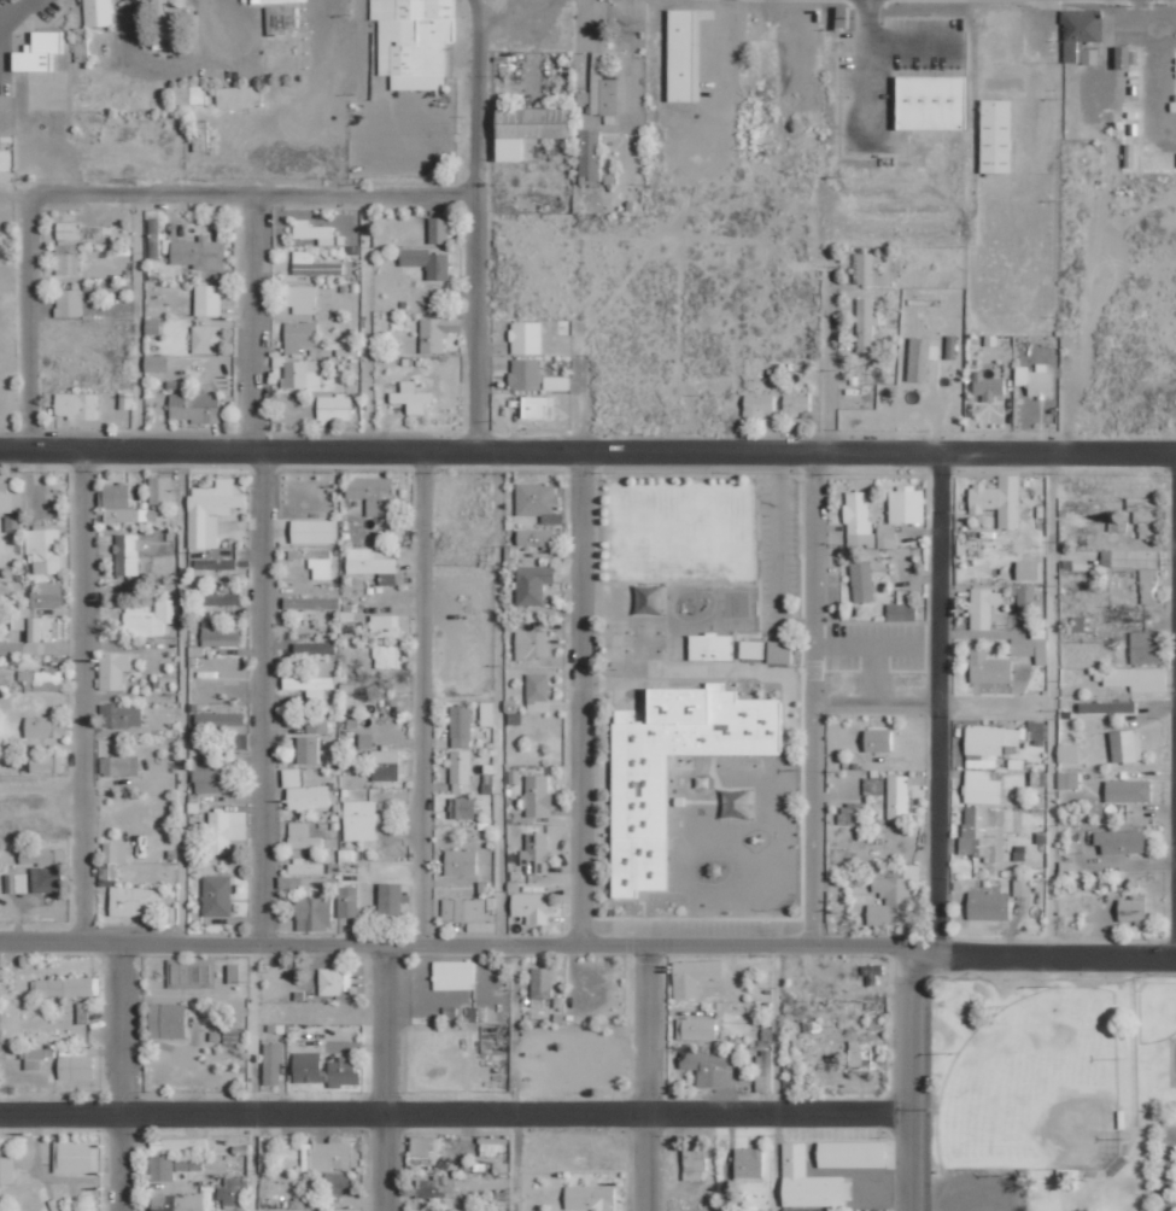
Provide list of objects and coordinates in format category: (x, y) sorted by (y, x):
building: (264, 1)
road: (12, 12)
building: (98, 12)
building: (280, 18)
building: (162, 25)
building: (1078, 31)
building: (411, 41)
building: (81, 43)
road: (911, 43)
building: (681, 55)
road: (868, 65)
building: (41, 71)
building: (608, 88)
building: (188, 94)
building: (238, 95)
road: (478, 95)
building: (929, 103)
building: (525, 130)
building: (199, 135)
building: (994, 136)
building: (589, 156)
road: (256, 194)
building: (438, 228)
building: (68, 230)
building: (314, 232)
building: (153, 242)
building: (198, 253)
building: (66, 259)
building: (427, 262)
building: (312, 264)
building: (873, 268)
building: (207, 299)
building: (302, 299)
building: (68, 303)
road: (139, 323)
road: (253, 323)
road: (365, 323)
road: (480, 323)
building: (866, 323)
road: (31, 324)
building: (437, 333)
building: (299, 337)
building: (525, 337)
building: (205, 339)
building: (950, 346)
road: (831, 357)
building: (919, 359)
building: (156, 363)
building: (525, 374)
building: (302, 375)
building: (1035, 379)
building: (555, 382)
building: (985, 386)
building: (410, 397)
building: (759, 404)
building: (795, 404)
building: (75, 405)
building: (194, 405)
building: (534, 405)
building: (334, 406)
road: (587, 452)
road: (1175, 479)
building: (159, 490)
building: (370, 492)
building: (7, 498)
building: (534, 498)
building: (997, 499)
building: (119, 504)
building: (210, 510)
building: (900, 513)
building: (1143, 515)
building: (858, 519)
building: (12, 523)
building: (314, 531)
building: (536, 539)
building: (42, 551)
building: (127, 554)
building: (1130, 558)
building: (215, 563)
building: (374, 564)
building: (1028, 571)
building: (861, 581)
building: (532, 584)
building: (1147, 584)
building: (46, 595)
building: (1026, 595)
building: (220, 599)
building: (311, 603)
building: (902, 605)
building: (982, 607)
building: (147, 618)
building: (385, 625)
building: (220, 636)
building: (531, 644)
building: (1031, 645)
building: (709, 647)
building: (1145, 647)
building: (315, 648)
building: (750, 649)
building: (779, 653)
building: (386, 655)
building: (988, 667)
building: (112, 669)
building: (1134, 678)
building: (41, 680)
building: (308, 683)
building: (536, 692)
road: (262, 694)
road: (82, 695)
road: (181, 695)
road: (422, 696)
road: (498, 696)
road: (579, 697)
road: (809, 697)
road: (937, 703)
road: (991, 703)
road: (1048, 704)
building: (1106, 707)
building: (486, 713)
building: (121, 715)
building: (217, 719)
building: (316, 724)
building: (45, 726)
building: (460, 726)
building: (1037, 732)
building: (877, 739)
building: (365, 741)
building: (238, 742)
building: (989, 744)
building: (1125, 745)
building: (308, 749)
building: (1067, 753)
building: (46, 764)
building: (384, 764)
building: (118, 766)
building: (460, 771)
building: (291, 777)
building: (213, 779)
building: (1067, 779)
building: (981, 788)
building: (1128, 790)
building: (537, 796)
building: (897, 796)
building: (308, 797)
building: (461, 807)
building: (854, 814)
building: (359, 820)
building: (639, 821)
building: (226, 830)
building: (982, 831)
building: (302, 836)
building: (1121, 842)
building: (115, 852)
building: (536, 854)
building: (41, 856)
building: (460, 862)
building: (305, 868)
building: (45, 879)
building: (14, 883)
building: (127, 895)
building: (216, 895)
building: (388, 897)
building: (891, 897)
building: (347, 901)
building: (988, 906)
building: (530, 907)
building: (463, 909)
building: (1133, 909)
building: (312, 913)
road: (441, 941)
road: (1029, 954)
building: (233, 973)
building: (454, 975)
building: (694, 976)
building: (334, 982)
building: (65, 987)
building: (478, 1013)
building: (166, 1020)
building: (697, 1029)
building: (792, 1040)
building: (859, 1055)
building: (36, 1058)
building: (74, 1063)
building: (271, 1063)
building: (707, 1066)
building: (305, 1067)
building: (763, 1071)
building: (343, 1072)
road: (122, 1075)
road: (253, 1075)
road: (386, 1076)
road: (514, 1076)
road: (644, 1076)
road: (773, 1076)
road: (906, 1078)
park: (1034, 1087)
road: (452, 1115)
building: (177, 1145)
building: (425, 1146)
building: (492, 1146)
building: (850, 1153)
building: (329, 1156)
building: (76, 1157)
building: (748, 1162)
building: (694, 1163)
building: (172, 1165)
building: (7, 1169)
building: (809, 1181)
building: (338, 1182)
building: (435, 1187)
building: (233, 1192)
building: (589, 1198)
building: (176, 1201)
building: (806, 1209)
building: (478, 1210)

